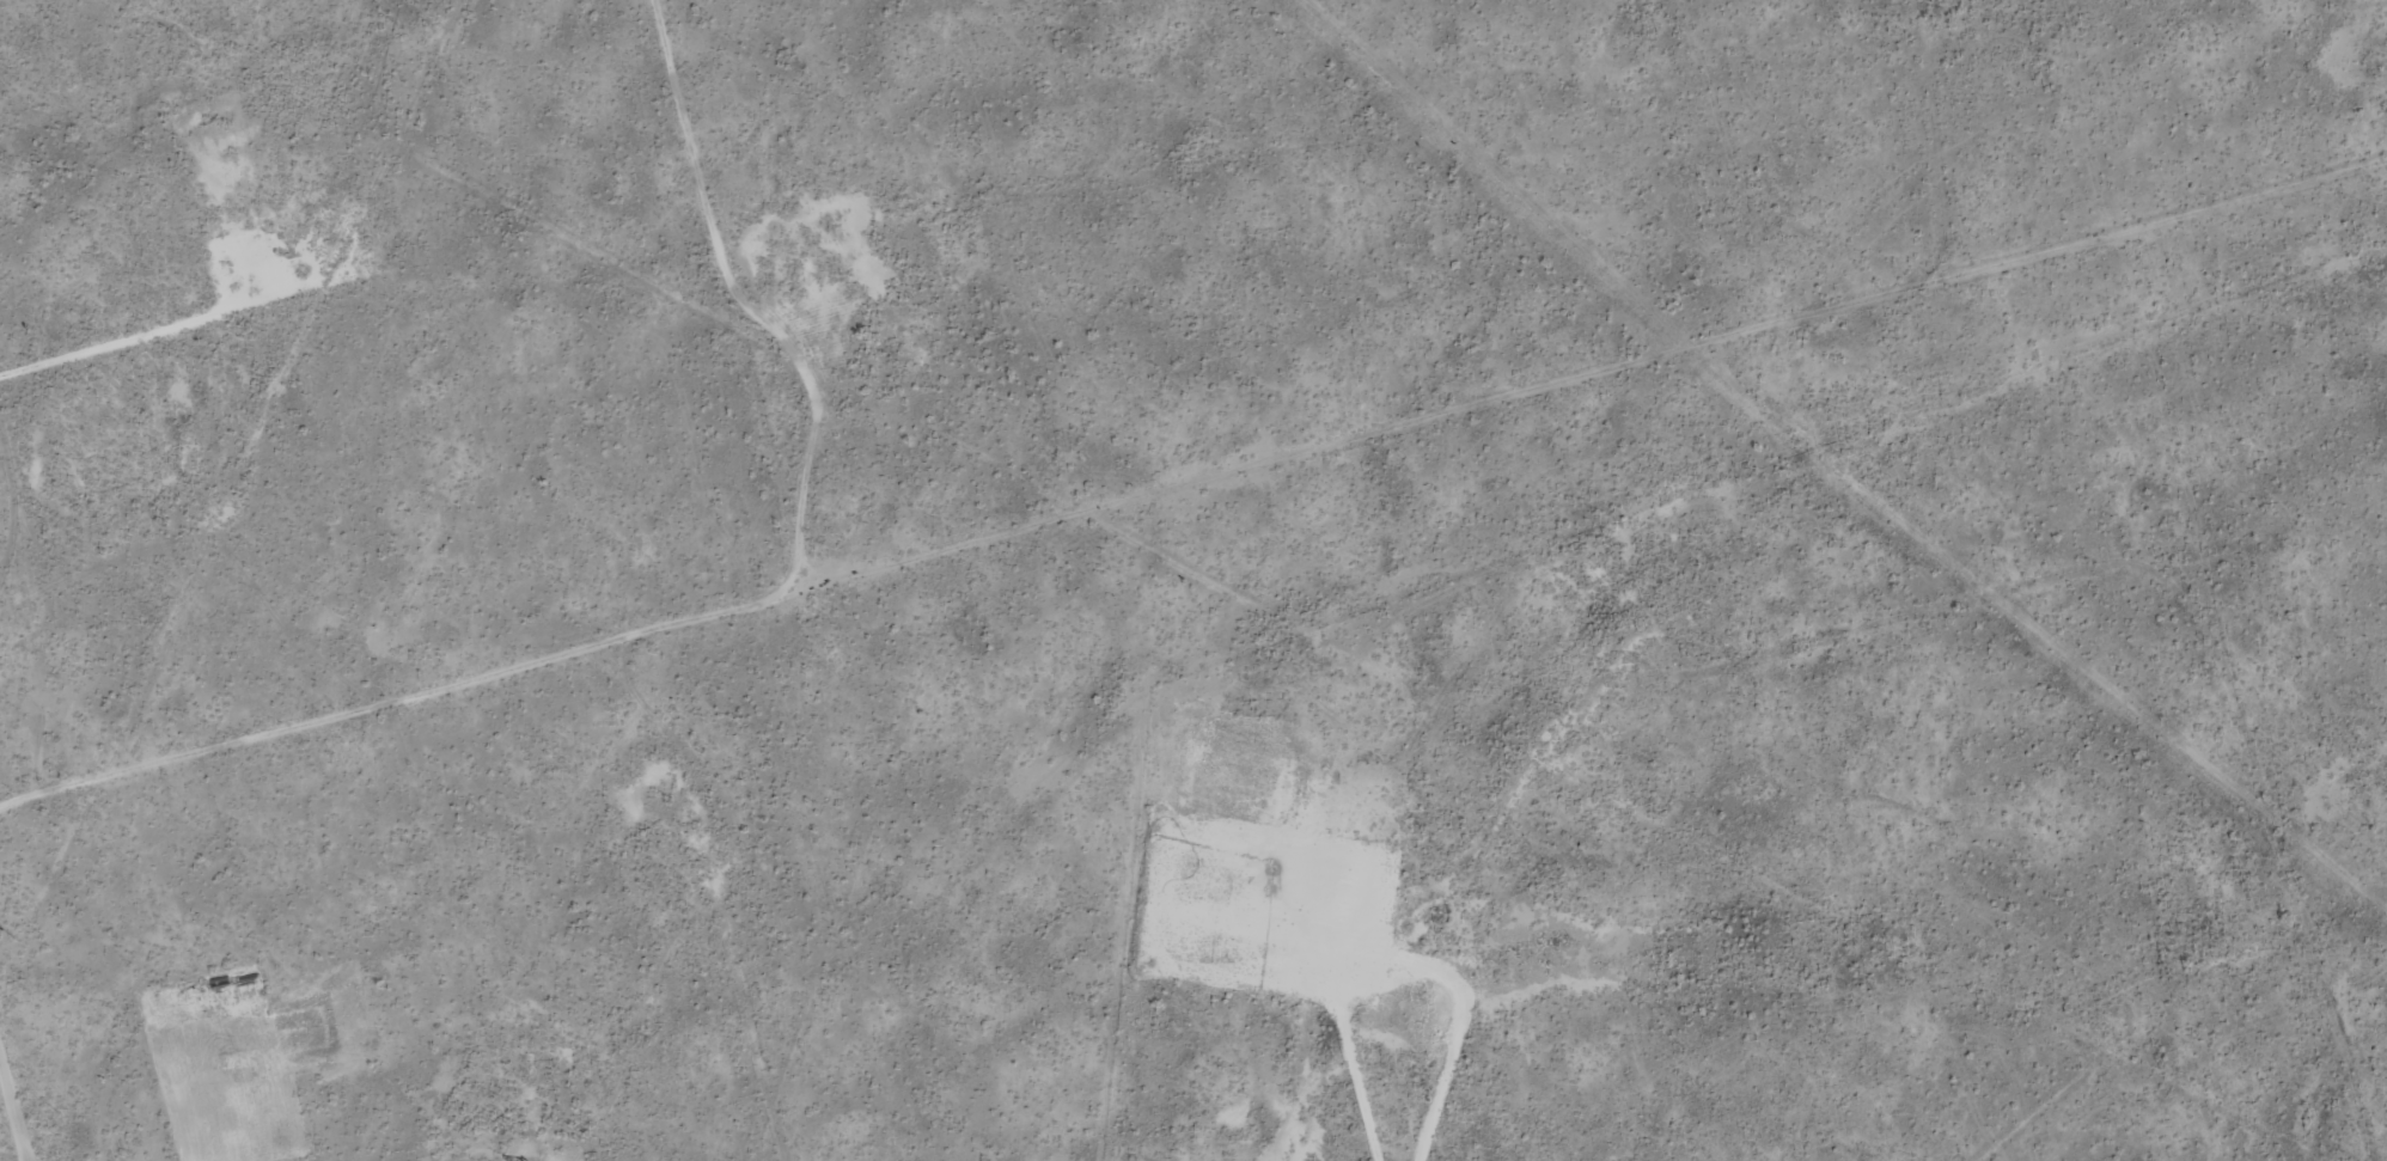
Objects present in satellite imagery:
road: (22, 1080)

